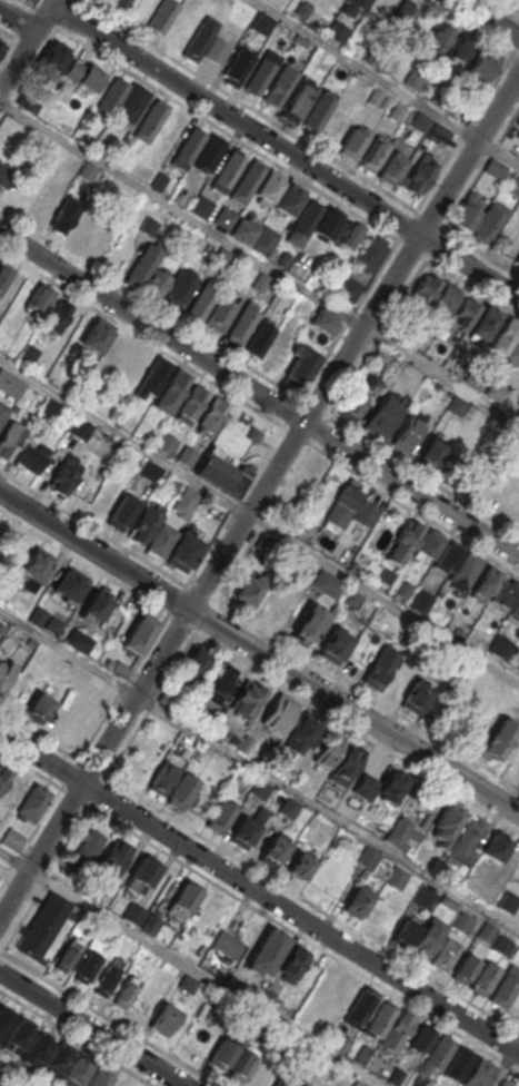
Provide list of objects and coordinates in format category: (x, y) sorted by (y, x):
building: (516, 1)
building: (119, 3)
building: (360, 4)
road: (29, 9)
building: (402, 17)
building: (162, 18)
road: (488, 19)
road: (18, 21)
building: (262, 22)
building: (338, 30)
building: (438, 40)
building: (201, 41)
building: (2, 45)
road: (13, 45)
road: (27, 45)
building: (460, 48)
building: (218, 51)
building: (53, 59)
building: (482, 65)
building: (238, 67)
road: (366, 70)
building: (262, 75)
building: (83, 76)
building: (415, 80)
building: (281, 87)
building: (113, 97)
building: (298, 99)
building: (132, 103)
building: (320, 111)
building: (150, 120)
building: (420, 121)
building: (438, 134)
building: (511, 138)
building: (353, 141)
building: (189, 149)
road: (286, 150)
building: (375, 152)
road: (498, 154)
building: (391, 168)
building: (495, 168)
building: (229, 170)
building: (88, 171)
building: (419, 174)
building: (4, 176)
building: (248, 182)
building: (511, 184)
building: (22, 196)
building: (290, 199)
building: (202, 208)
building: (468, 210)
building: (64, 215)
building: (226, 218)
building: (303, 221)
building: (328, 221)
building: (490, 221)
building: (150, 227)
building: (83, 229)
building: (243, 233)
building: (350, 234)
building: (266, 241)
building: (371, 254)
building: (222, 257)
building: (517, 258)
road: (260, 263)
building: (142, 267)
building: (4, 274)
building: (261, 283)
building: (349, 288)
building: (180, 290)
building: (435, 294)
building: (38, 302)
building: (203, 302)
building: (57, 316)
building: (475, 318)
building: (325, 322)
building: (244, 324)
building: (97, 336)
building: (503, 336)
road: (141, 338)
building: (261, 338)
building: (513, 355)
building: (382, 357)
building: (136, 359)
building: (301, 368)
building: (154, 378)
building: (11, 384)
building: (173, 392)
building: (496, 392)
road: (259, 394)
building: (353, 405)
building: (192, 406)
building: (50, 407)
building: (3, 413)
building: (383, 414)
building: (212, 418)
building: (80, 427)
building: (407, 434)
building: (10, 440)
building: (104, 443)
building: (167, 443)
building: (432, 451)
building: (228, 456)
building: (29, 457)
building: (131, 461)
road: (336, 461)
building: (151, 472)
building: (64, 474)
road: (259, 495)
building: (103, 500)
building: (184, 502)
building: (345, 503)
building: (122, 512)
building: (366, 513)
road: (259, 521)
building: (0, 523)
building: (146, 523)
building: (161, 540)
building: (403, 542)
building: (429, 544)
building: (186, 549)
building: (458, 564)
building: (33, 569)
building: (328, 583)
building: (486, 583)
building: (69, 585)
building: (248, 592)
building: (505, 595)
building: (421, 601)
building: (97, 603)
building: (516, 610)
building: (309, 623)
road: (259, 632)
building: (139, 633)
building: (79, 640)
building: (335, 644)
road: (259, 652)
building: (194, 663)
building: (379, 668)
building: (4, 672)
building: (218, 687)
building: (103, 692)
building: (418, 694)
building: (248, 698)
building: (31, 700)
building: (279, 712)
building: (81, 724)
building: (218, 727)
building: (303, 733)
building: (497, 740)
building: (328, 750)
building: (346, 766)
road: (259, 770)
building: (3, 777)
building: (163, 778)
building: (380, 787)
building: (260, 789)
building: (183, 791)
building: (33, 801)
road: (49, 806)
building: (289, 807)
building: (222, 816)
building: (446, 825)
building: (247, 828)
building: (402, 832)
building: (13, 839)
building: (469, 839)
building: (89, 845)
building: (275, 849)
building: (496, 849)
building: (368, 857)
building: (114, 858)
building: (300, 865)
building: (141, 875)
building: (396, 877)
road: (259, 894)
building: (186, 896)
building: (426, 898)
building: (358, 900)
building: (381, 917)
building: (141, 918)
building: (462, 922)
building: (43, 926)
building: (487, 931)
building: (426, 940)
building: (228, 944)
building: (267, 951)
building: (67, 954)
building: (446, 954)
building: (293, 964)
building: (87, 967)
road: (190, 967)
building: (466, 968)
building: (485, 978)
building: (106, 979)
building: (503, 989)
building: (126, 990)
building: (360, 1007)
building: (380, 1017)
building: (163, 1019)
building: (4, 1023)
road: (92, 1029)
building: (422, 1037)
building: (204, 1038)
road: (516, 1046)
building: (226, 1050)
building: (439, 1053)
building: (57, 1060)
building: (458, 1064)
road: (502, 1068)
building: (252, 1070)
building: (76, 1072)
building: (478, 1074)
building: (100, 1076)
building: (288, 1080)
building: (358, 1083)
building: (301, 1085)

